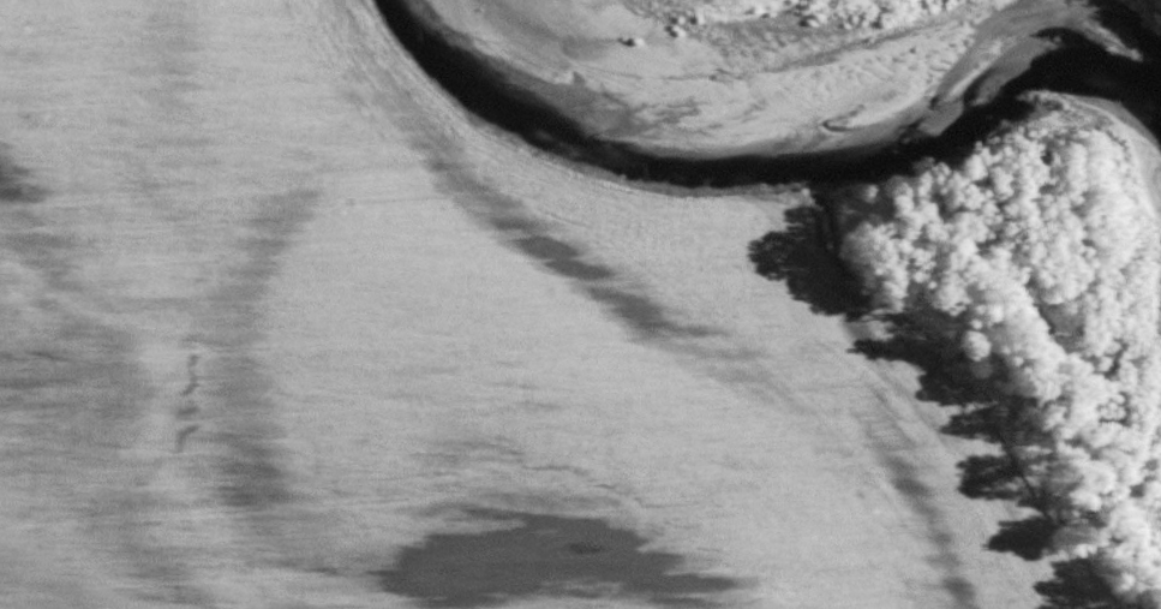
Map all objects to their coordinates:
river: (1154, 13)
river: (678, 31)

